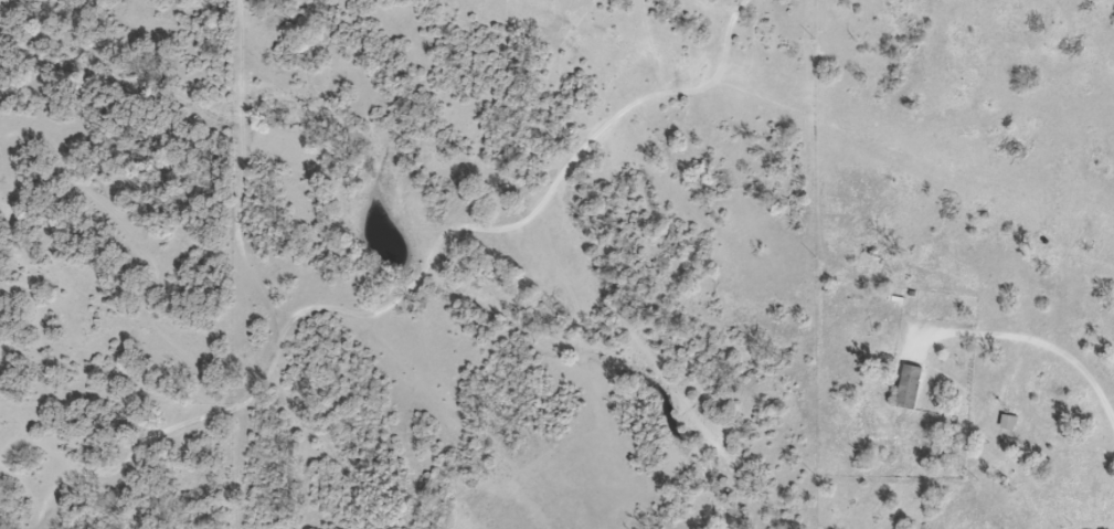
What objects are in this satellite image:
road: (1041, 342)
building: (910, 385)
building: (1009, 421)

